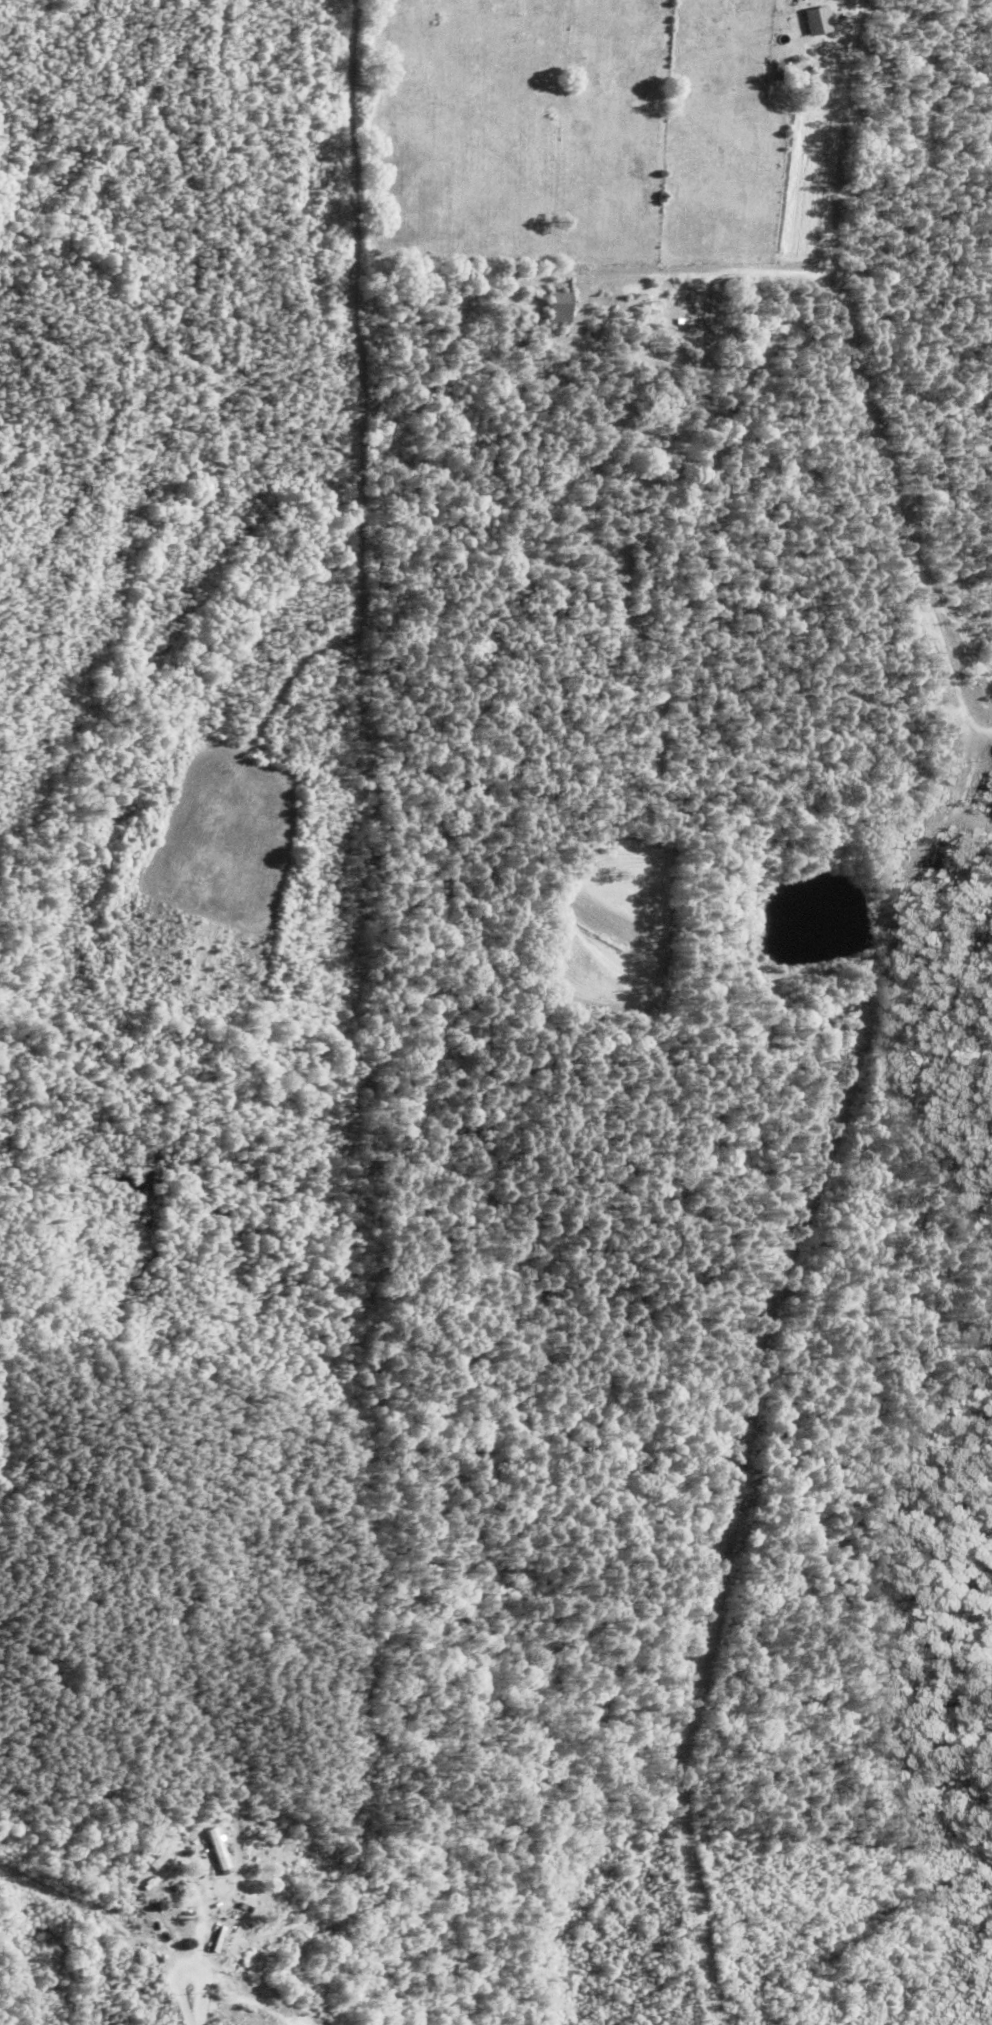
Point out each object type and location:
building: (819, 22)
building: (560, 310)
building: (754, 329)
road: (812, 359)
road: (970, 647)
road: (967, 714)
road: (970, 760)
building: (162, 1859)
road: (201, 1962)

